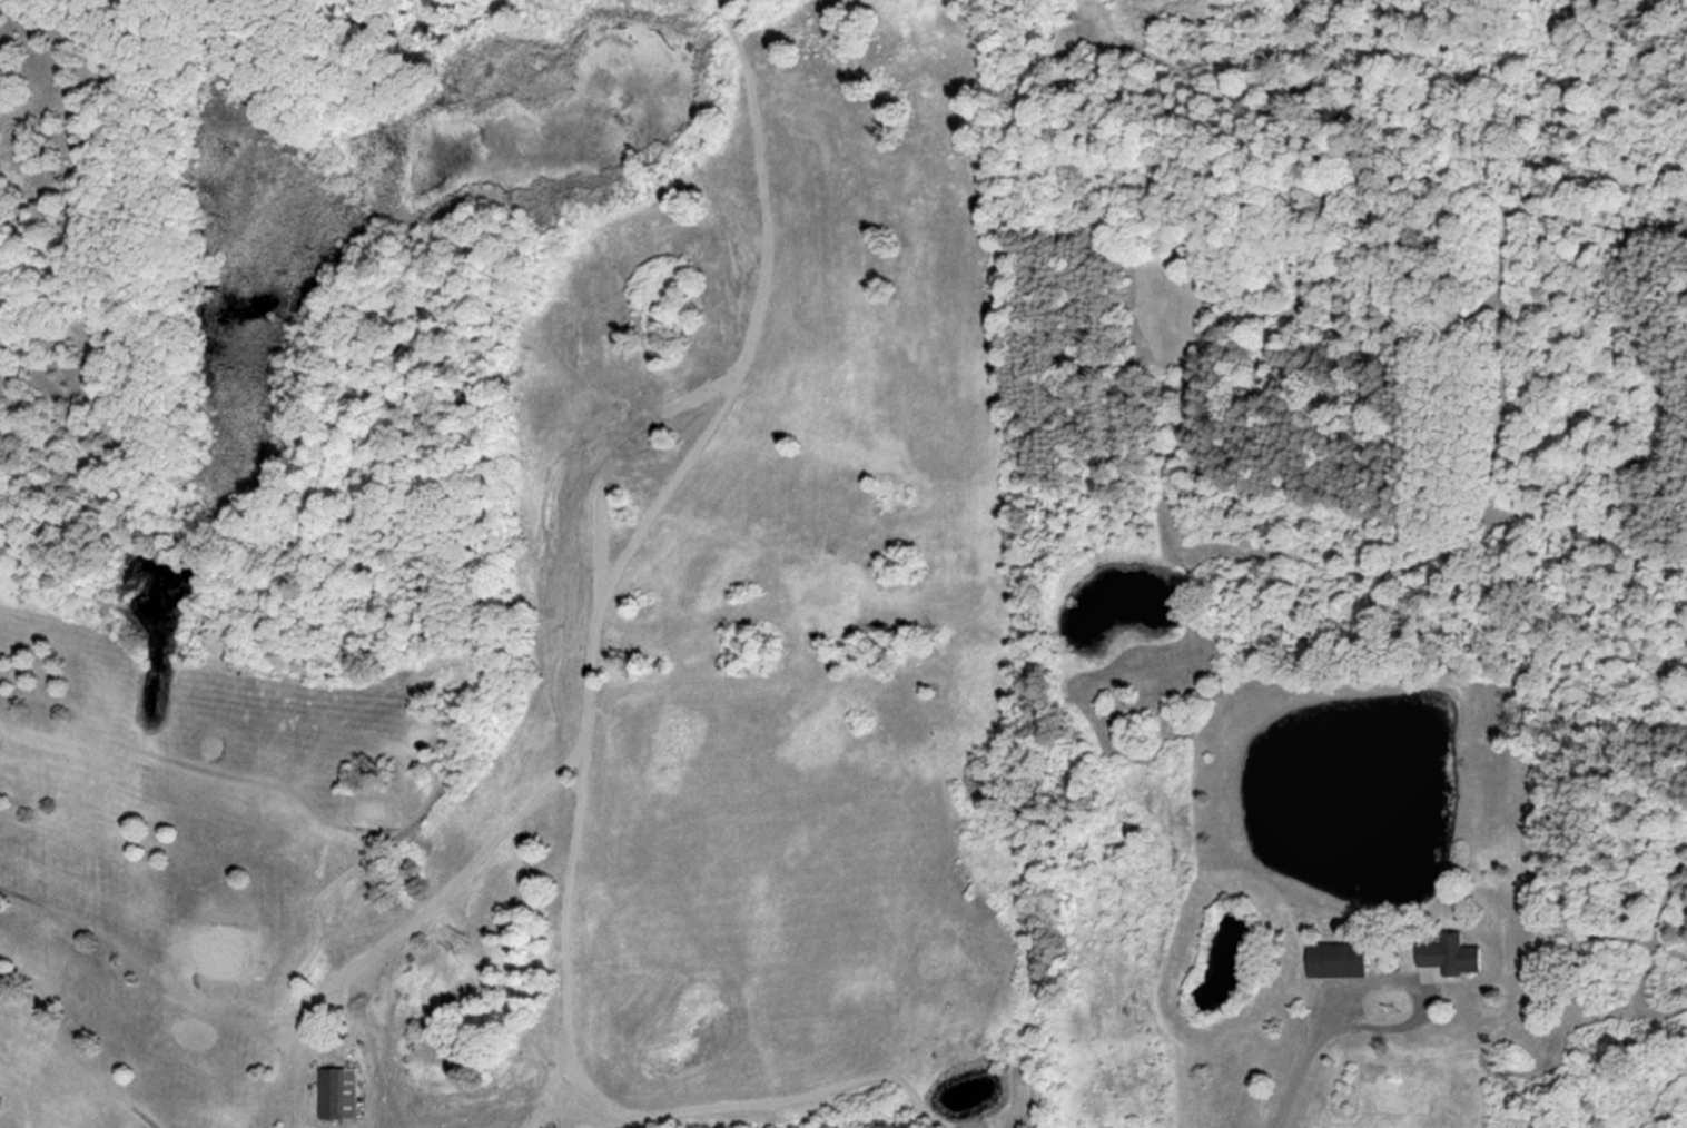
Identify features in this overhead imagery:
building: (1458, 958)
building: (1344, 961)
building: (342, 1095)

